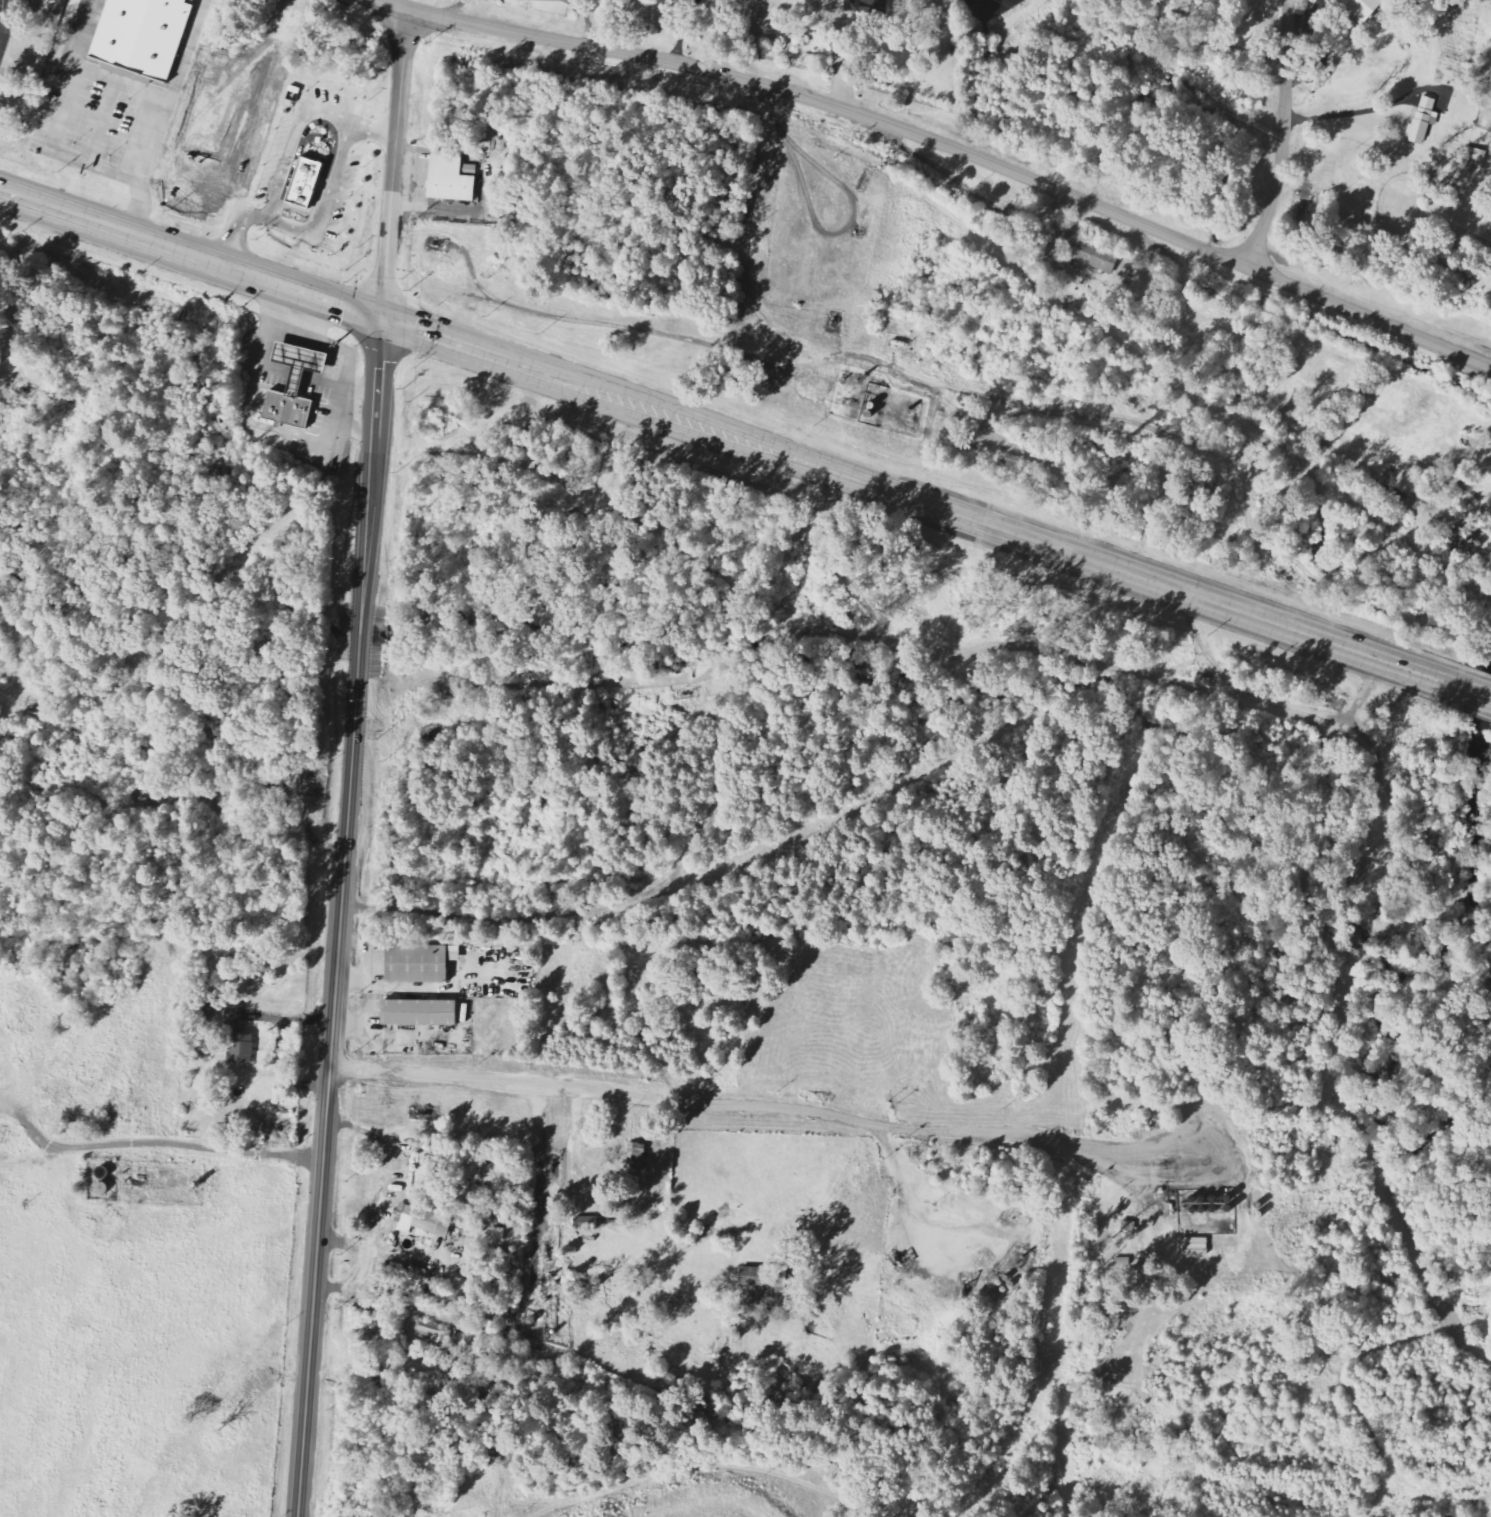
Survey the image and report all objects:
building: (872, 5)
building: (1365, 7)
parking lot: (8, 16)
road: (7, 23)
power tower: (1057, 24)
road: (2, 30)
building: (143, 34)
parking lot: (3, 47)
road: (148, 97)
building: (1424, 121)
road: (1283, 135)
road: (946, 144)
power tower: (1306, 148)
building: (1475, 155)
road: (394, 164)
building: (452, 179)
building: (306, 184)
road: (97, 226)
building: (1082, 253)
road: (288, 289)
traffic signals: (381, 320)
road: (595, 321)
road: (488, 356)
building: (300, 361)
gas station: (300, 361)
road: (934, 380)
road: (1274, 407)
building: (288, 409)
road: (1025, 538)
road: (1083, 654)
road: (1195, 658)
road: (11, 681)
road: (1363, 692)
road: (1473, 692)
road: (1324, 716)
road: (263, 788)
road: (617, 906)
road: (340, 918)
building: (420, 962)
building: (421, 1012)
building: (234, 1017)
building: (242, 1048)
road: (433, 1077)
road: (963, 1132)
road: (151, 1143)
building: (637, 1155)
road: (30, 1162)
road: (538, 1190)
road: (907, 1208)
building: (425, 1222)
building: (586, 1224)
building: (499, 1234)
building: (408, 1279)
building: (767, 1281)
building: (432, 1331)
road: (712, 1467)

